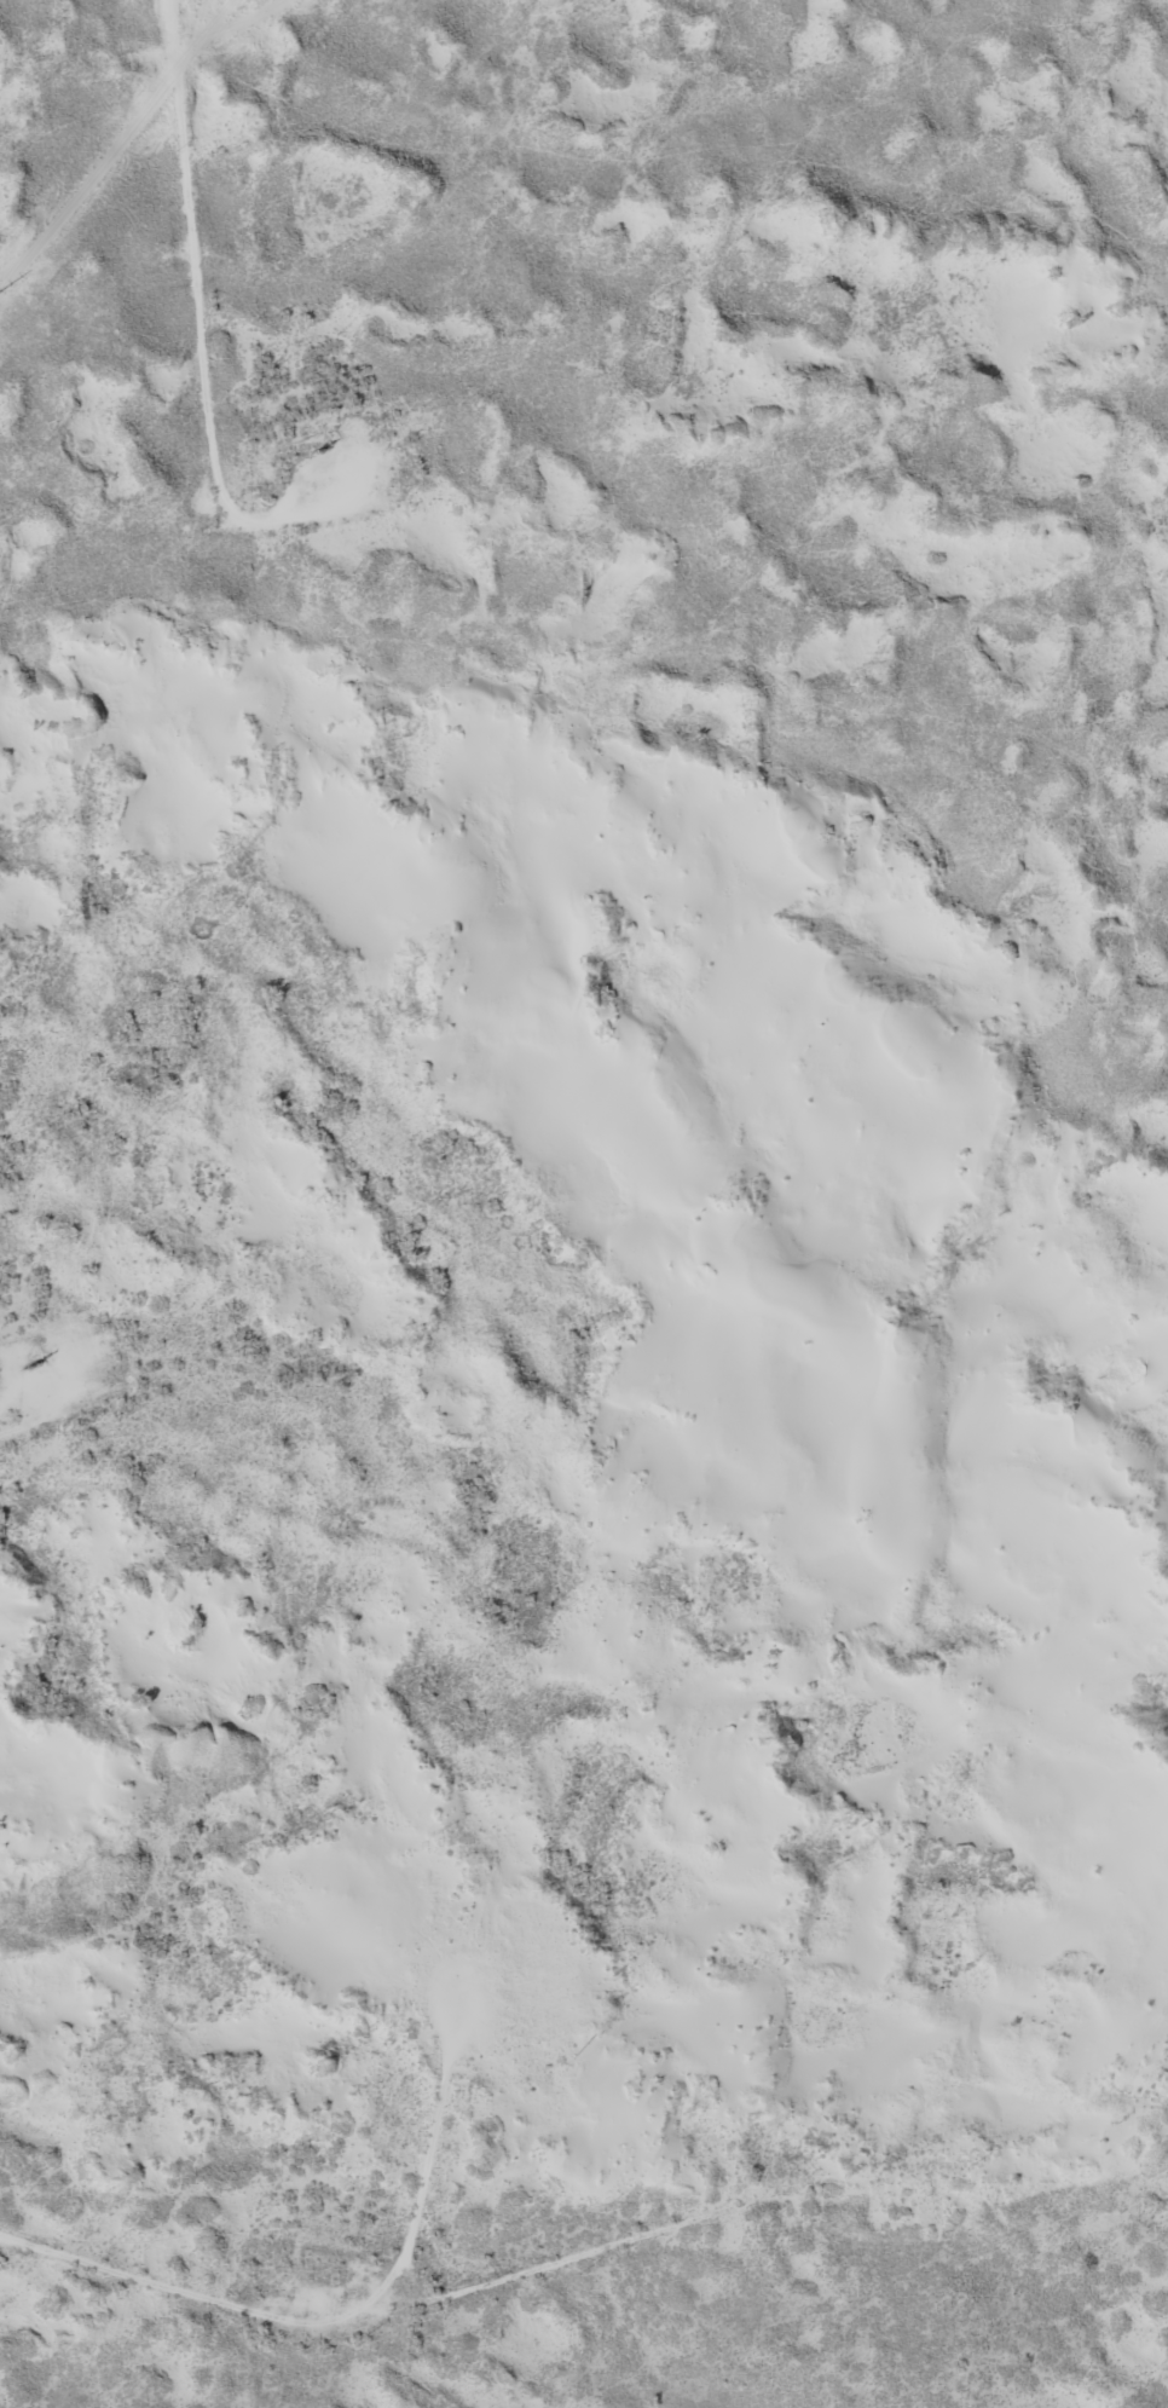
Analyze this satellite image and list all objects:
power tower: (243, 6)

